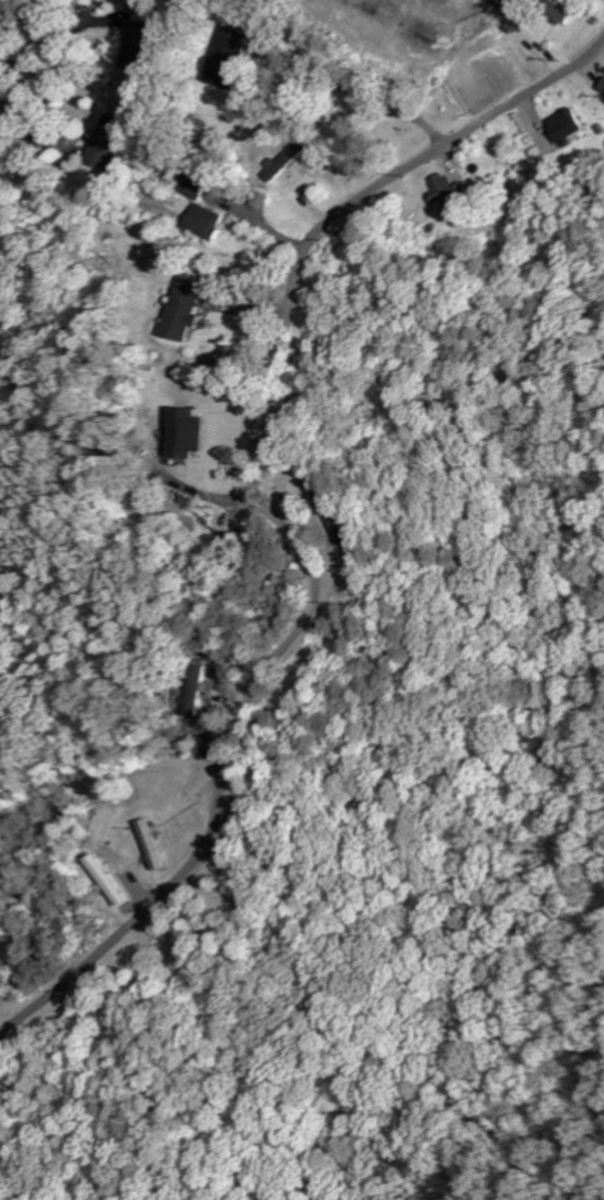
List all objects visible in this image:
building: (78, 2)
building: (555, 8)
road: (35, 30)
building: (214, 56)
building: (600, 86)
building: (563, 128)
building: (93, 152)
building: (278, 162)
building: (443, 189)
building: (254, 201)
building: (198, 221)
building: (179, 308)
building: (177, 429)
road: (281, 517)
building: (203, 683)

